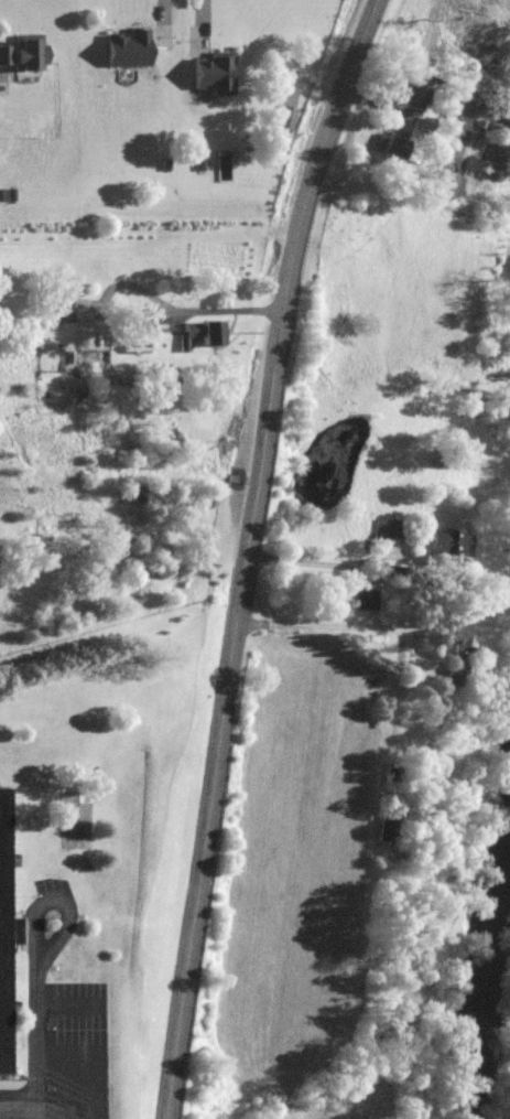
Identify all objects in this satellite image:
building: (213, 77)
building: (408, 85)
building: (289, 118)
building: (391, 147)
building: (449, 185)
road: (172, 310)
building: (211, 334)
building: (448, 544)
road: (248, 552)
road: (369, 558)
building: (368, 600)
road: (340, 627)
building: (455, 639)
road: (59, 899)
building: (6, 930)
river: (489, 971)
road: (72, 1008)
road: (40, 1042)
road: (101, 1056)
road: (20, 1109)

